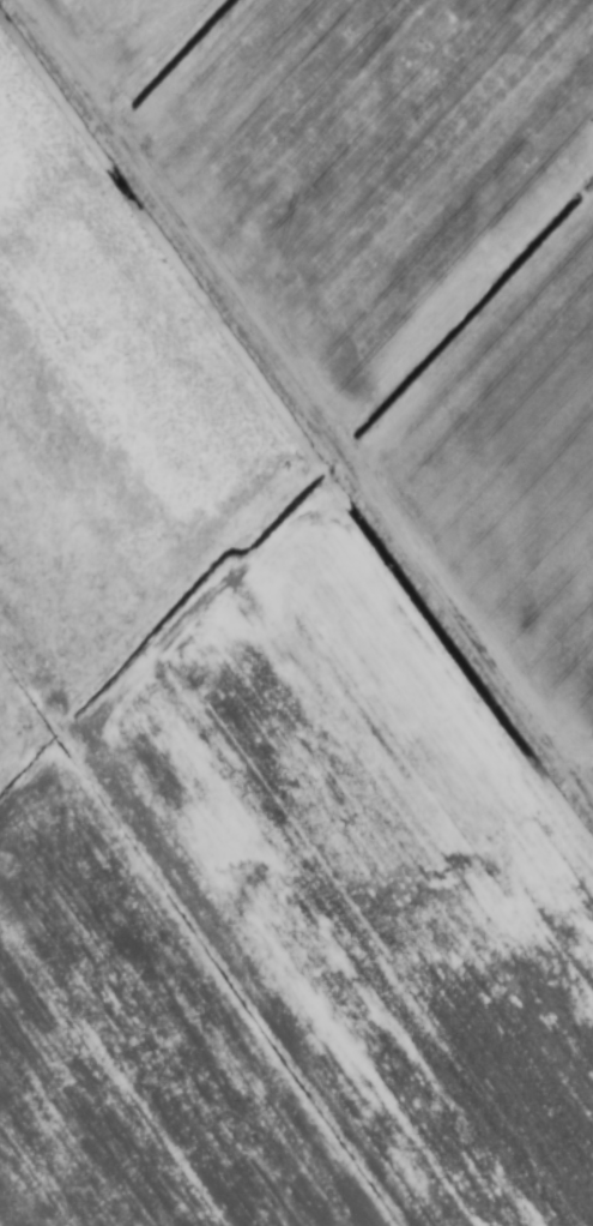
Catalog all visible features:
crop: (296, 613)

